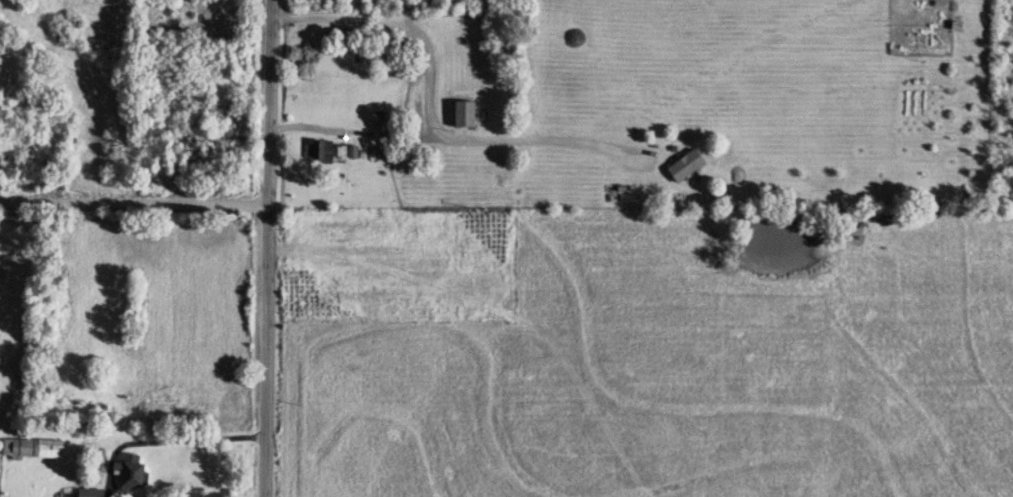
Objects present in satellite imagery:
road: (428, 109)
building: (461, 115)
building: (318, 152)
building: (344, 153)
building: (682, 166)
road: (134, 203)
road: (266, 248)
road: (160, 444)
building: (33, 450)
building: (128, 473)
building: (88, 493)

